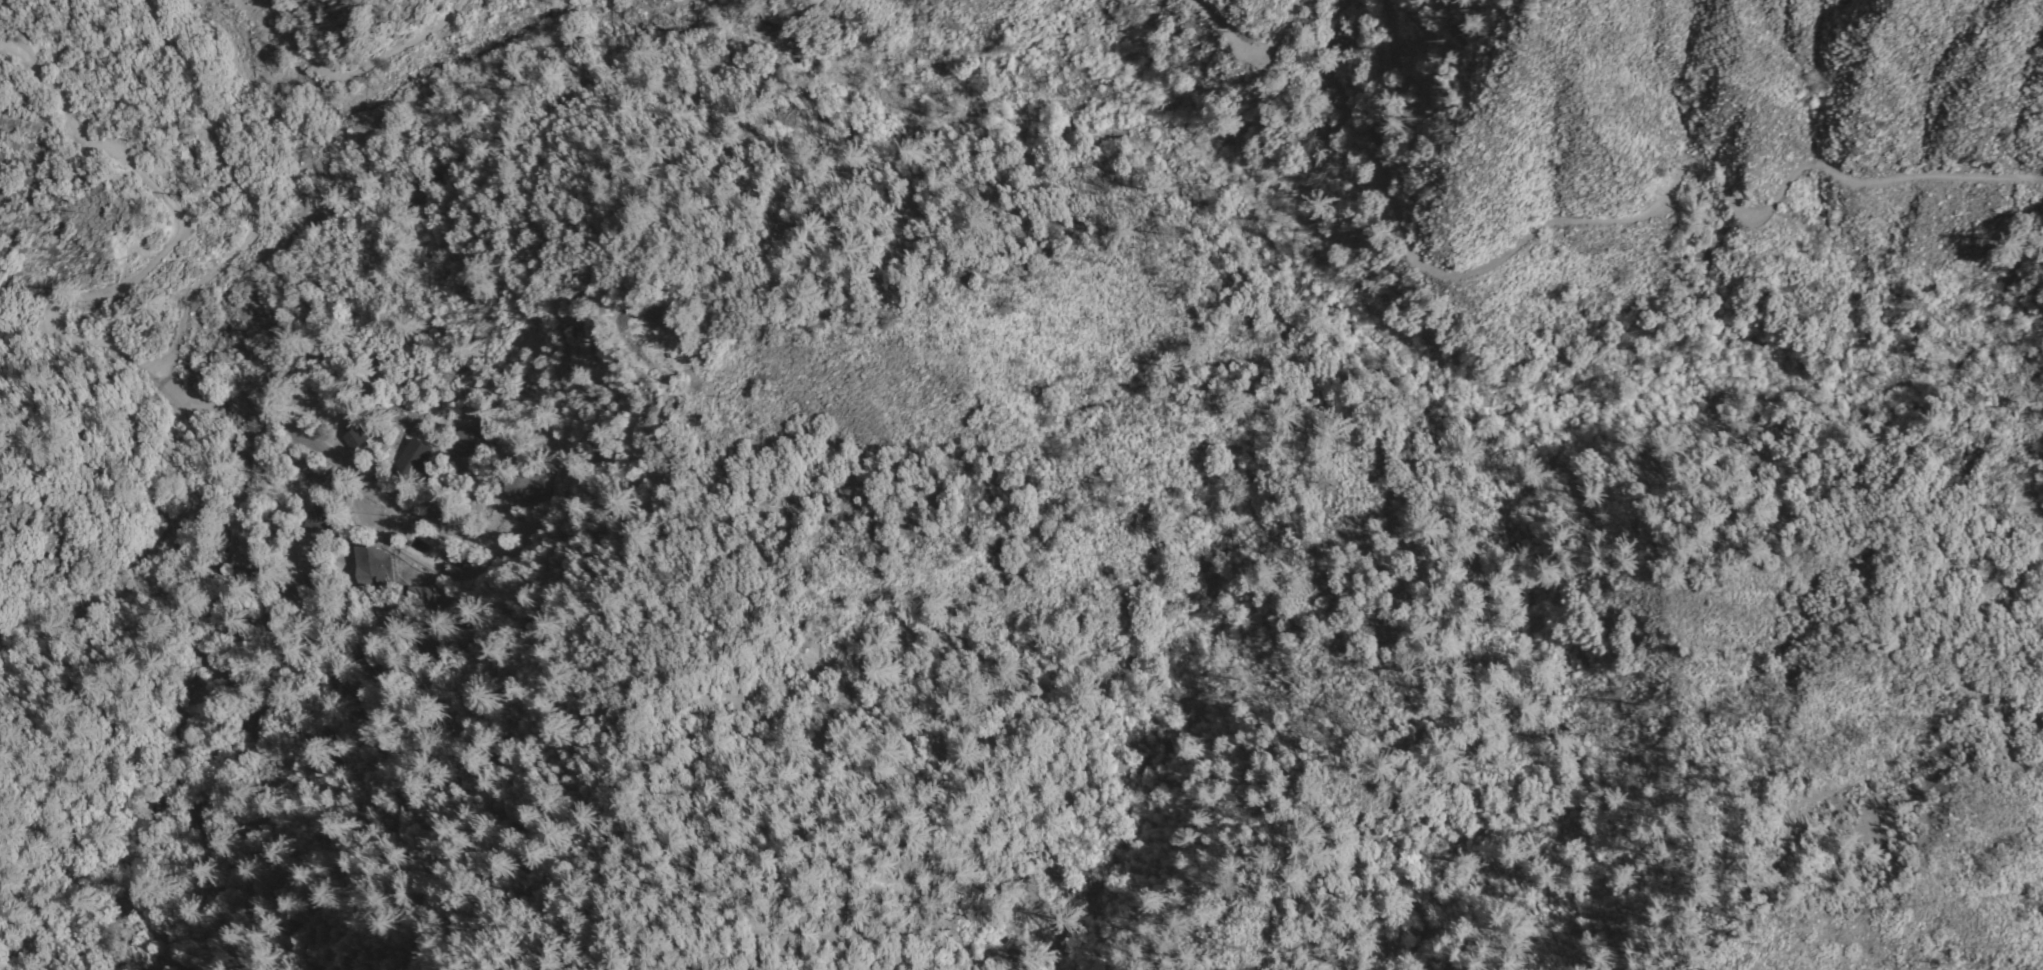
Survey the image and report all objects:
road: (819, 0)
road: (1254, 52)
road: (350, 75)
road: (1038, 98)
road: (236, 166)
road: (1613, 229)
road: (167, 253)
building: (351, 437)
building: (471, 437)
road: (316, 449)
building: (413, 457)
building: (314, 472)
building: (524, 487)
building: (318, 514)
building: (441, 517)
building: (372, 564)
building: (418, 592)

